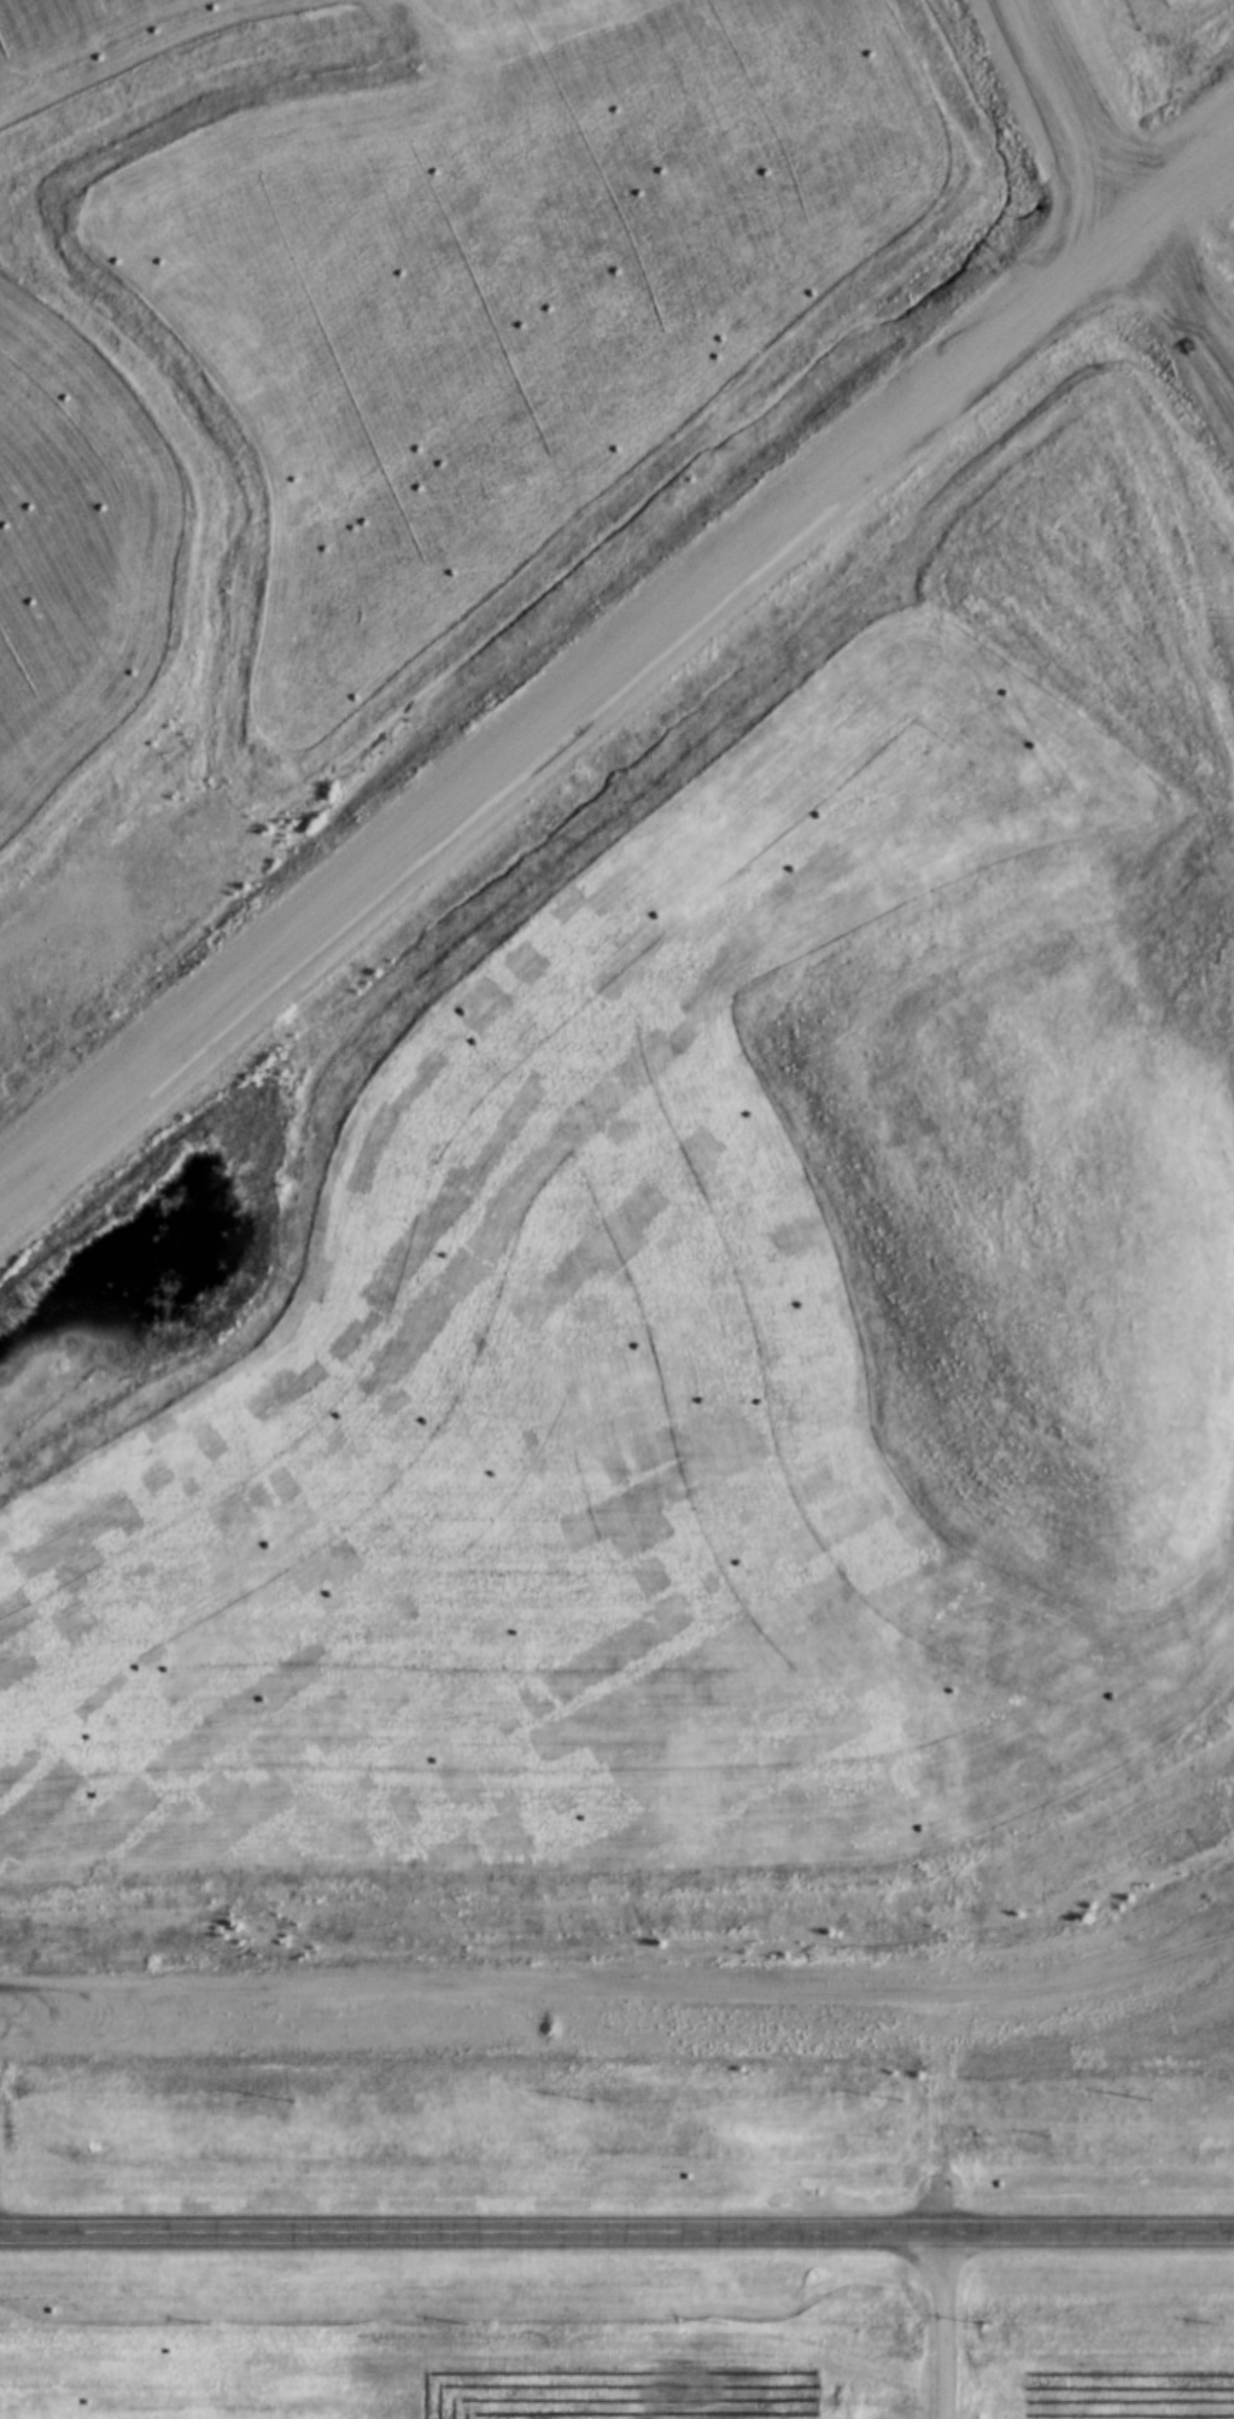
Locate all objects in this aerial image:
quarry: (726, 1417)
road: (616, 2231)

